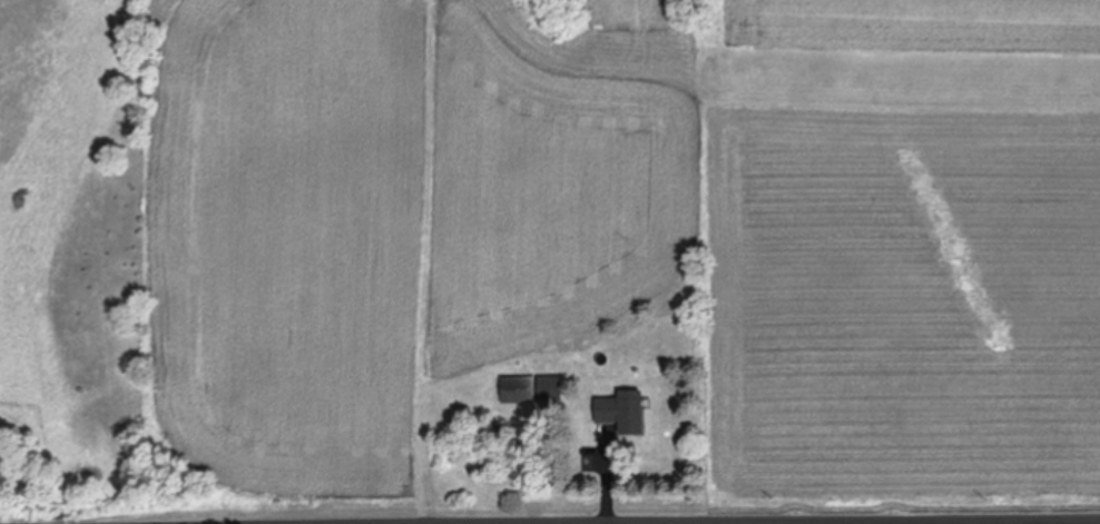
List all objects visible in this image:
crop: (544, 243)
building: (551, 389)
building: (520, 390)
building: (623, 412)

